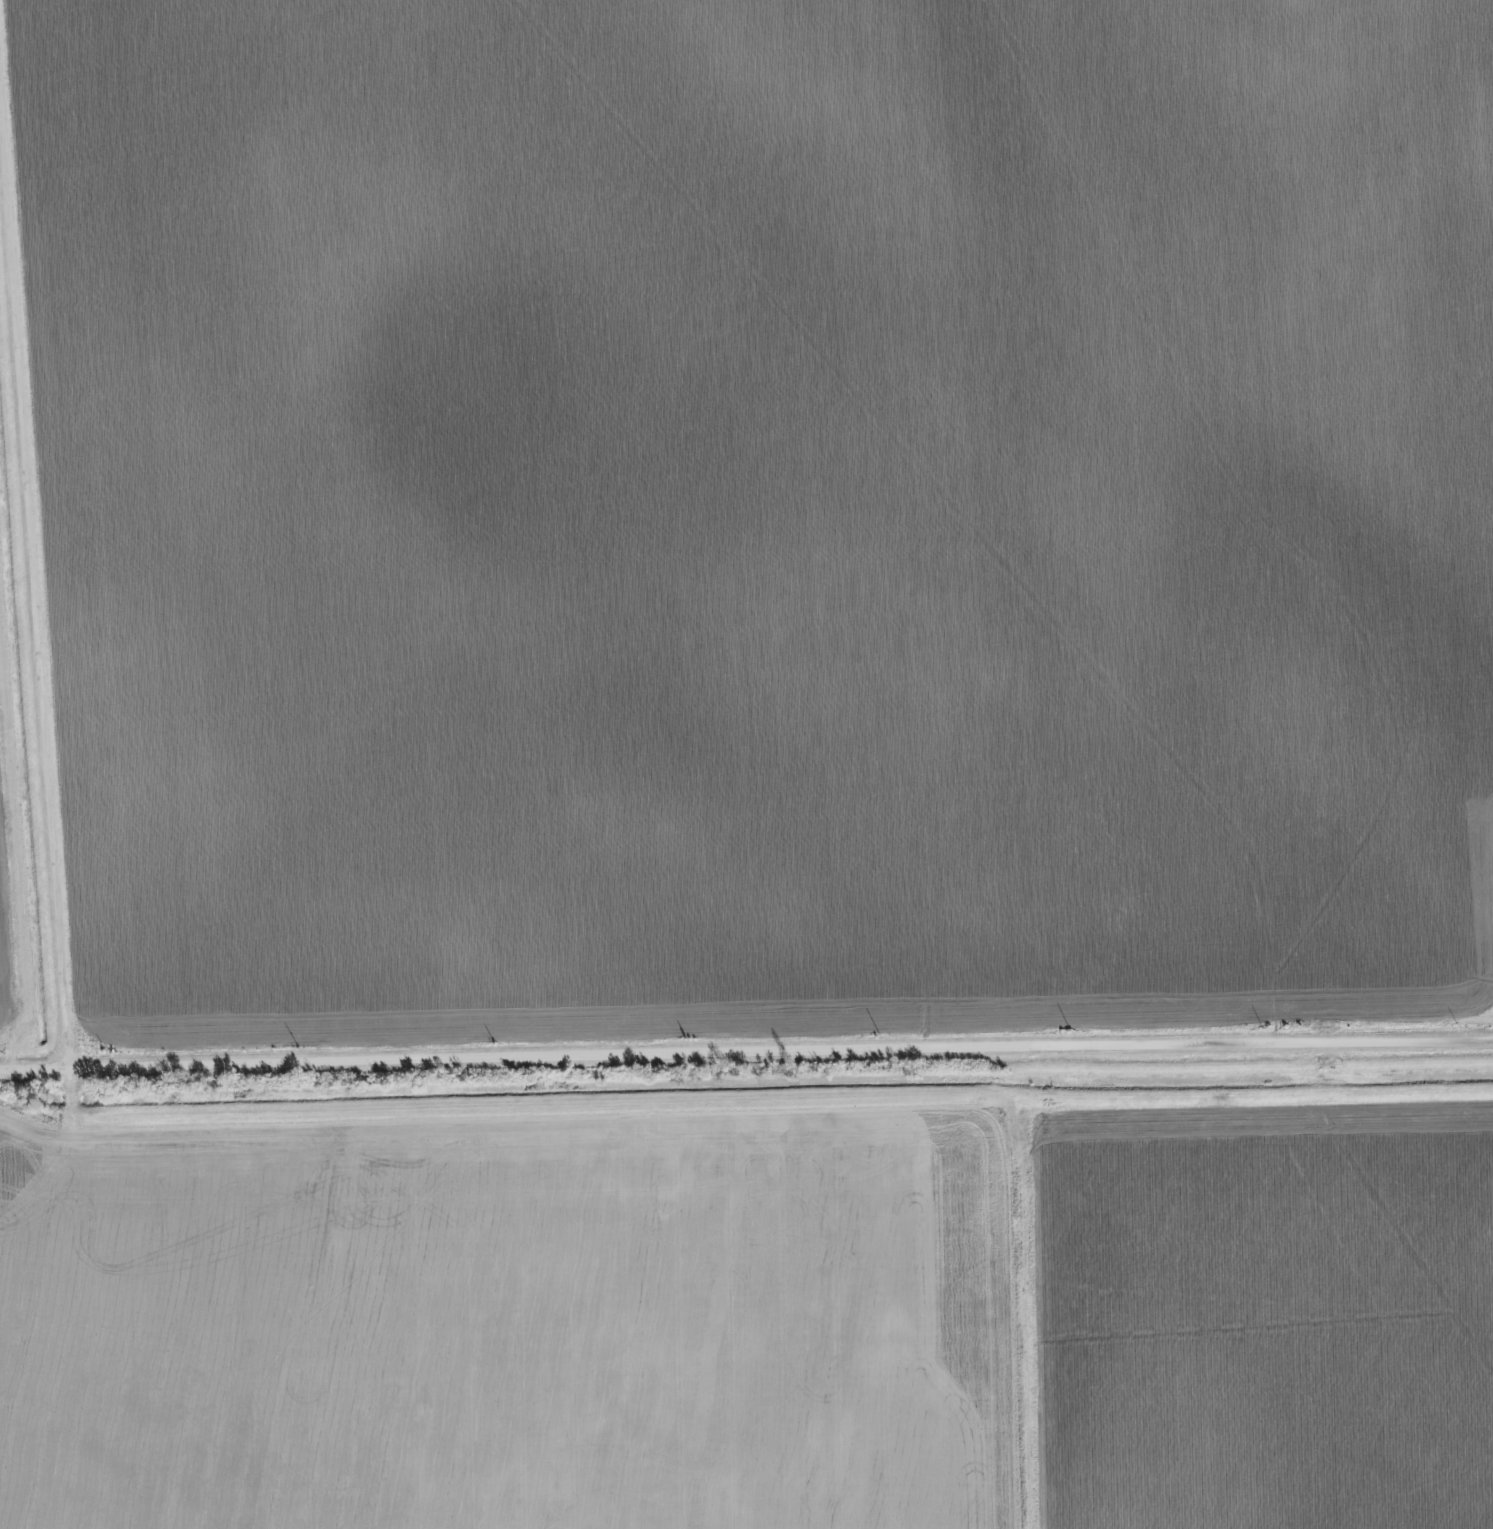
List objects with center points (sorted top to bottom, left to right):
road: (35, 555)
road: (746, 1054)

